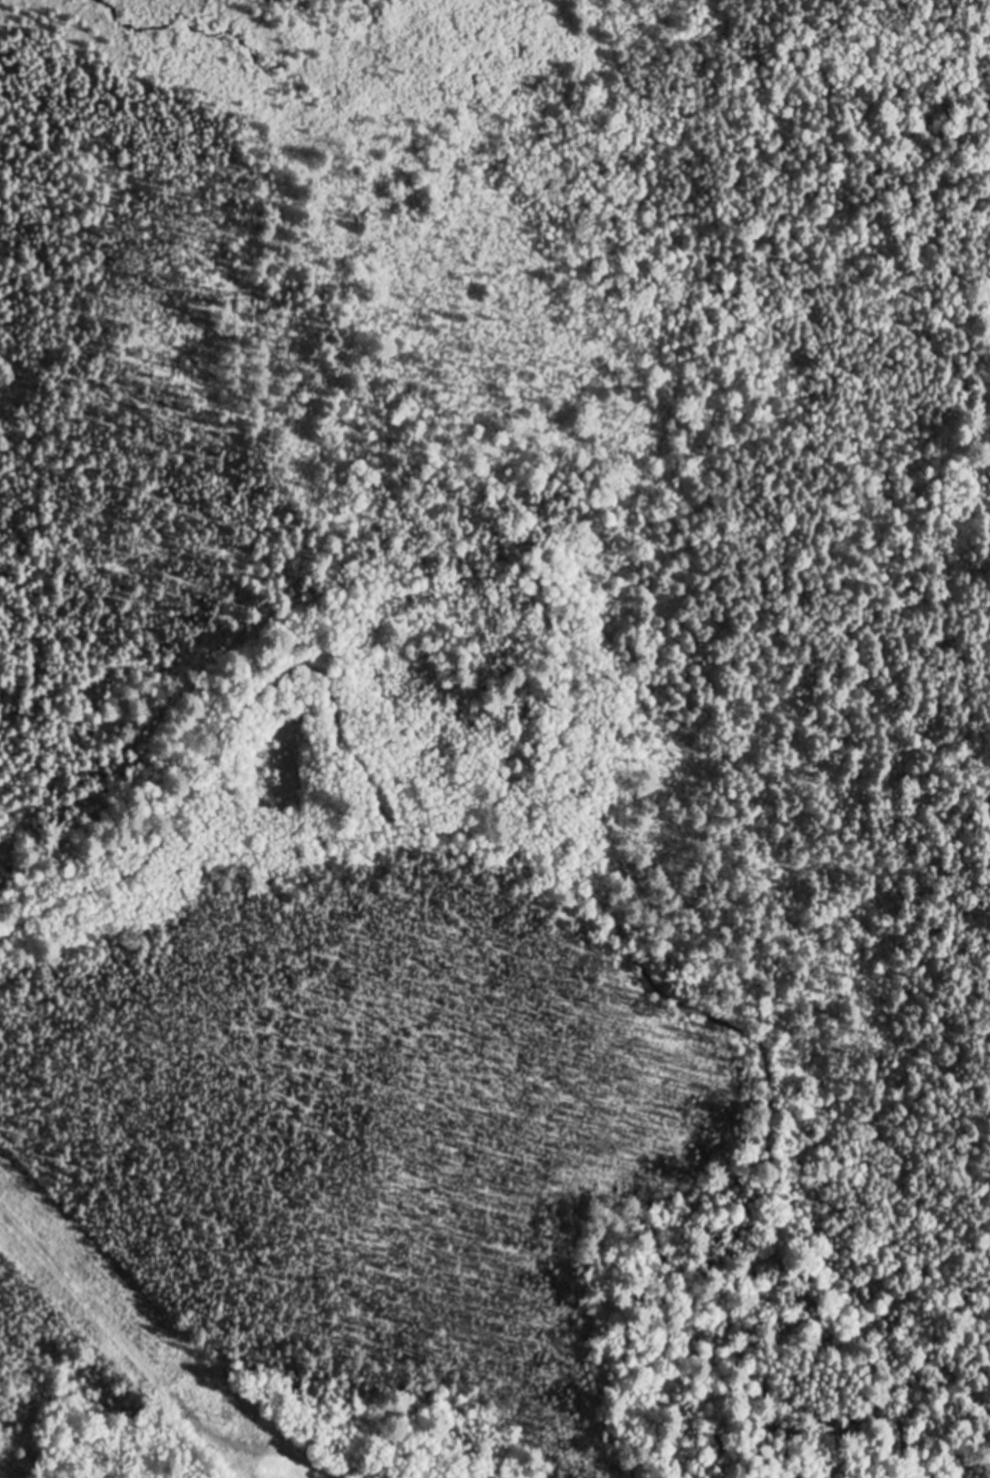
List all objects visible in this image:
power tower: (227, 1422)

